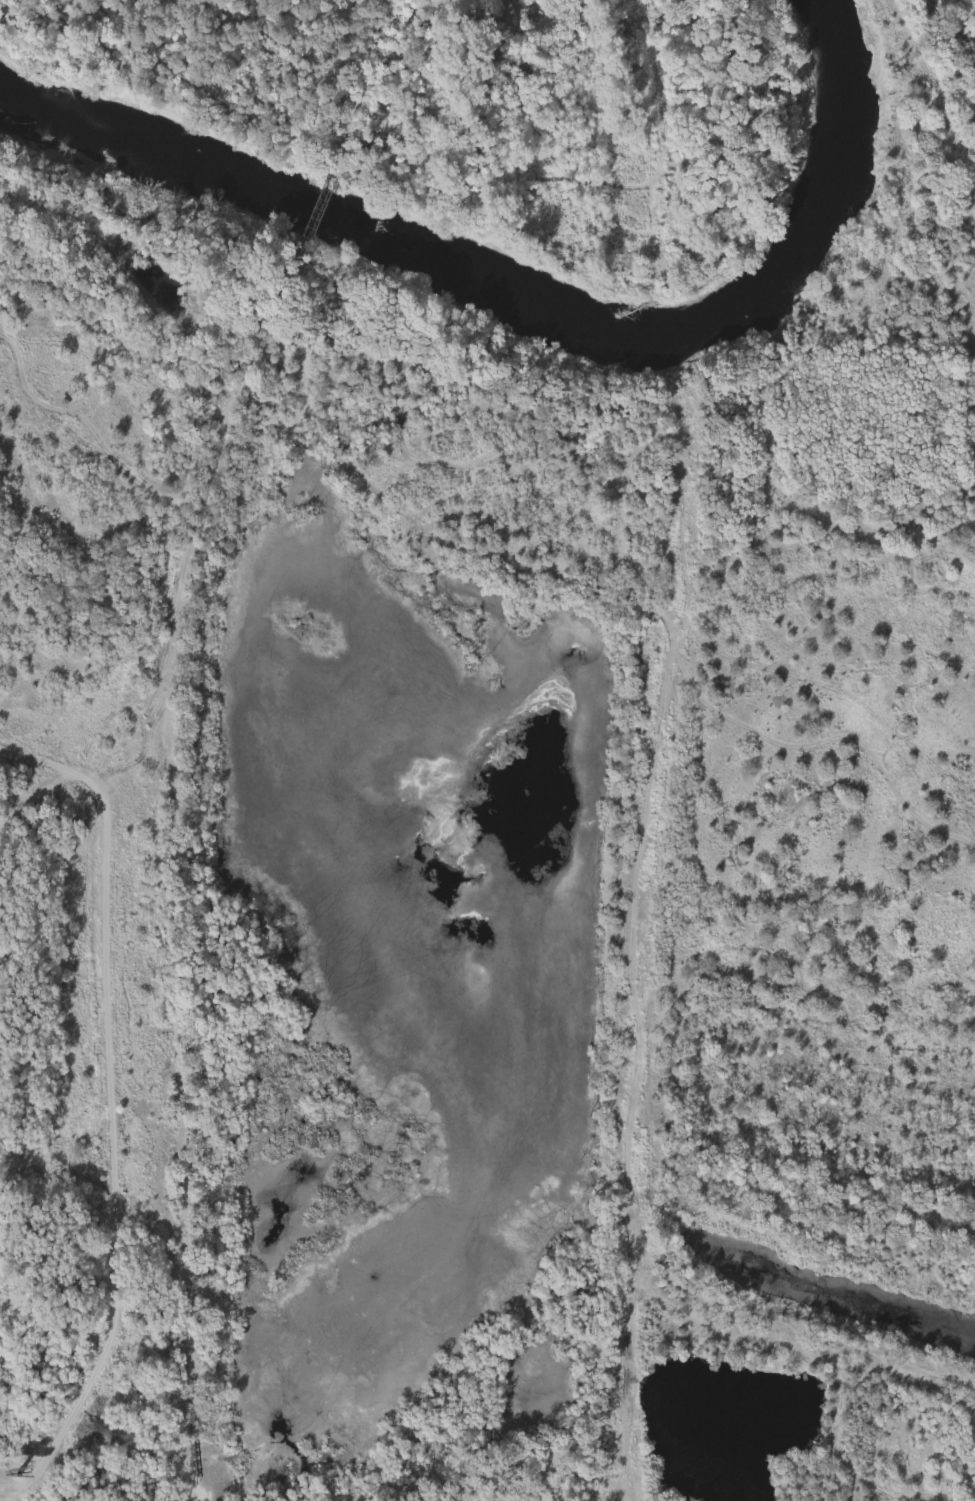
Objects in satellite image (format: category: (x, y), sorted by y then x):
river: (532, 311)
road: (112, 1100)

